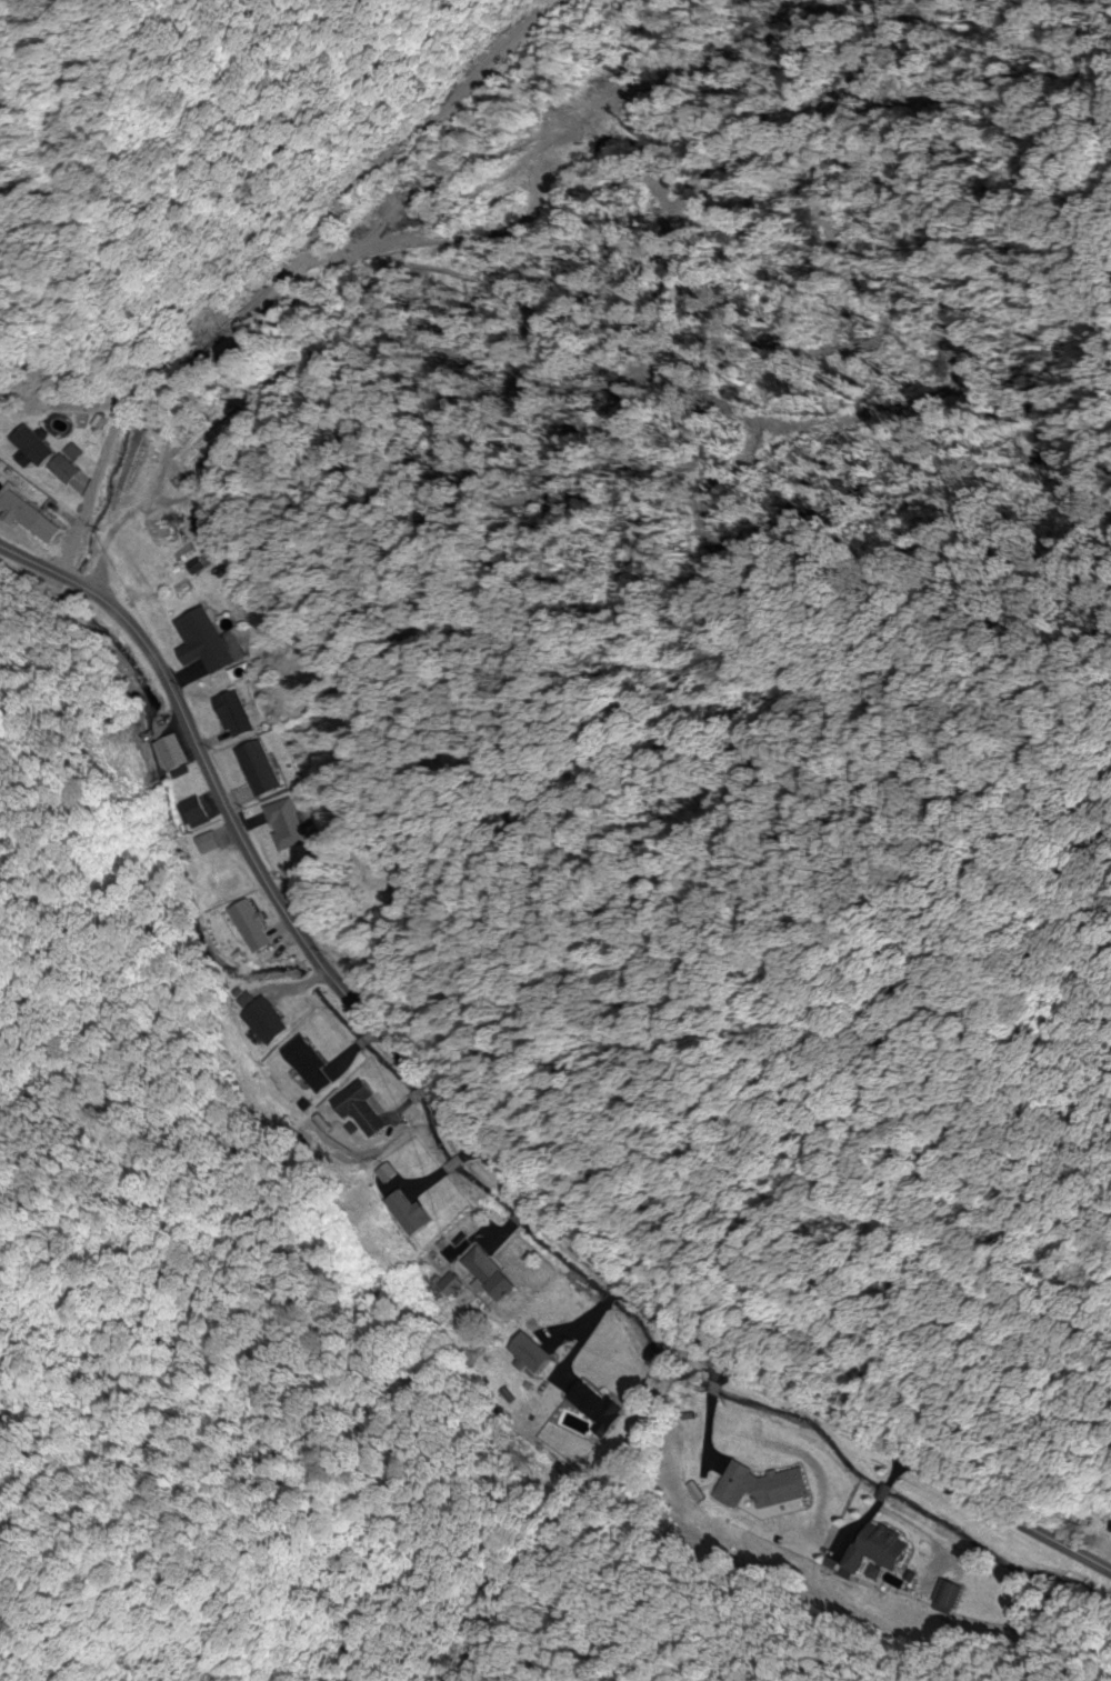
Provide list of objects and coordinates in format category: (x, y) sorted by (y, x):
road: (266, 233)
building: (28, 447)
building: (60, 469)
building: (24, 519)
building: (198, 642)
building: (231, 716)
building: (168, 754)
building: (256, 769)
building: (192, 813)
building: (286, 822)
building: (204, 844)
building: (249, 925)
building: (260, 1019)
building: (303, 1064)
building: (356, 1112)
road: (473, 1140)
building: (402, 1213)
building: (484, 1274)
building: (448, 1287)
building: (526, 1353)
building: (590, 1405)
building: (757, 1488)
building: (1108, 1528)

